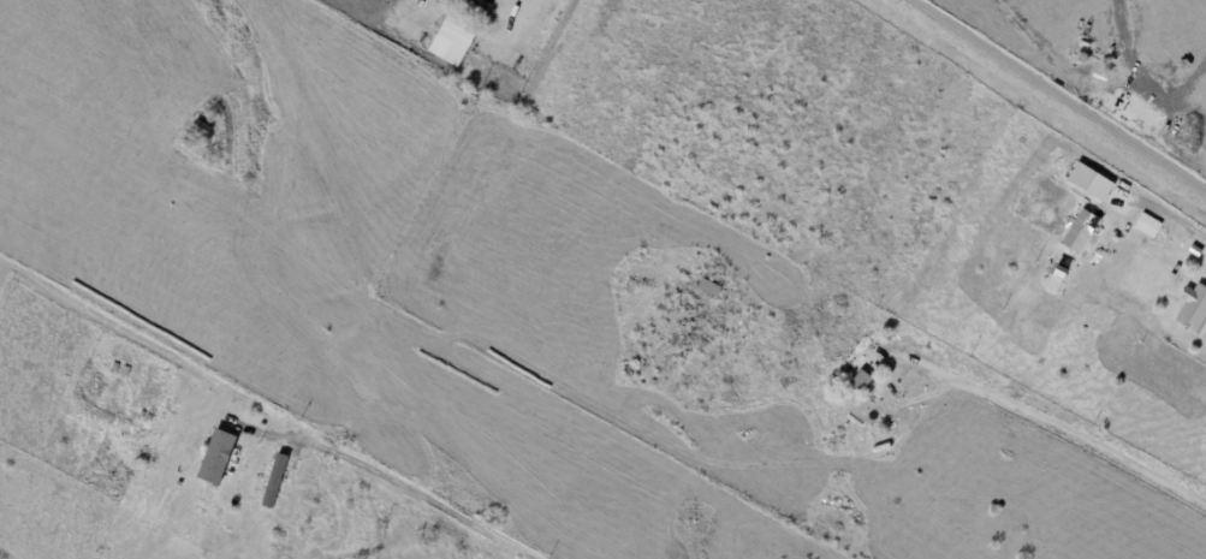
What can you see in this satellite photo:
road: (530, 11)
building: (455, 37)
road: (1052, 99)
building: (201, 129)
building: (1092, 182)
building: (1074, 196)
road: (1170, 216)
building: (1143, 224)
building: (1080, 231)
building: (1195, 251)
building: (1178, 257)
building: (1176, 270)
building: (709, 287)
building: (1194, 310)
building: (860, 362)
road: (1068, 434)
building: (218, 454)
building: (274, 481)
road: (400, 484)

